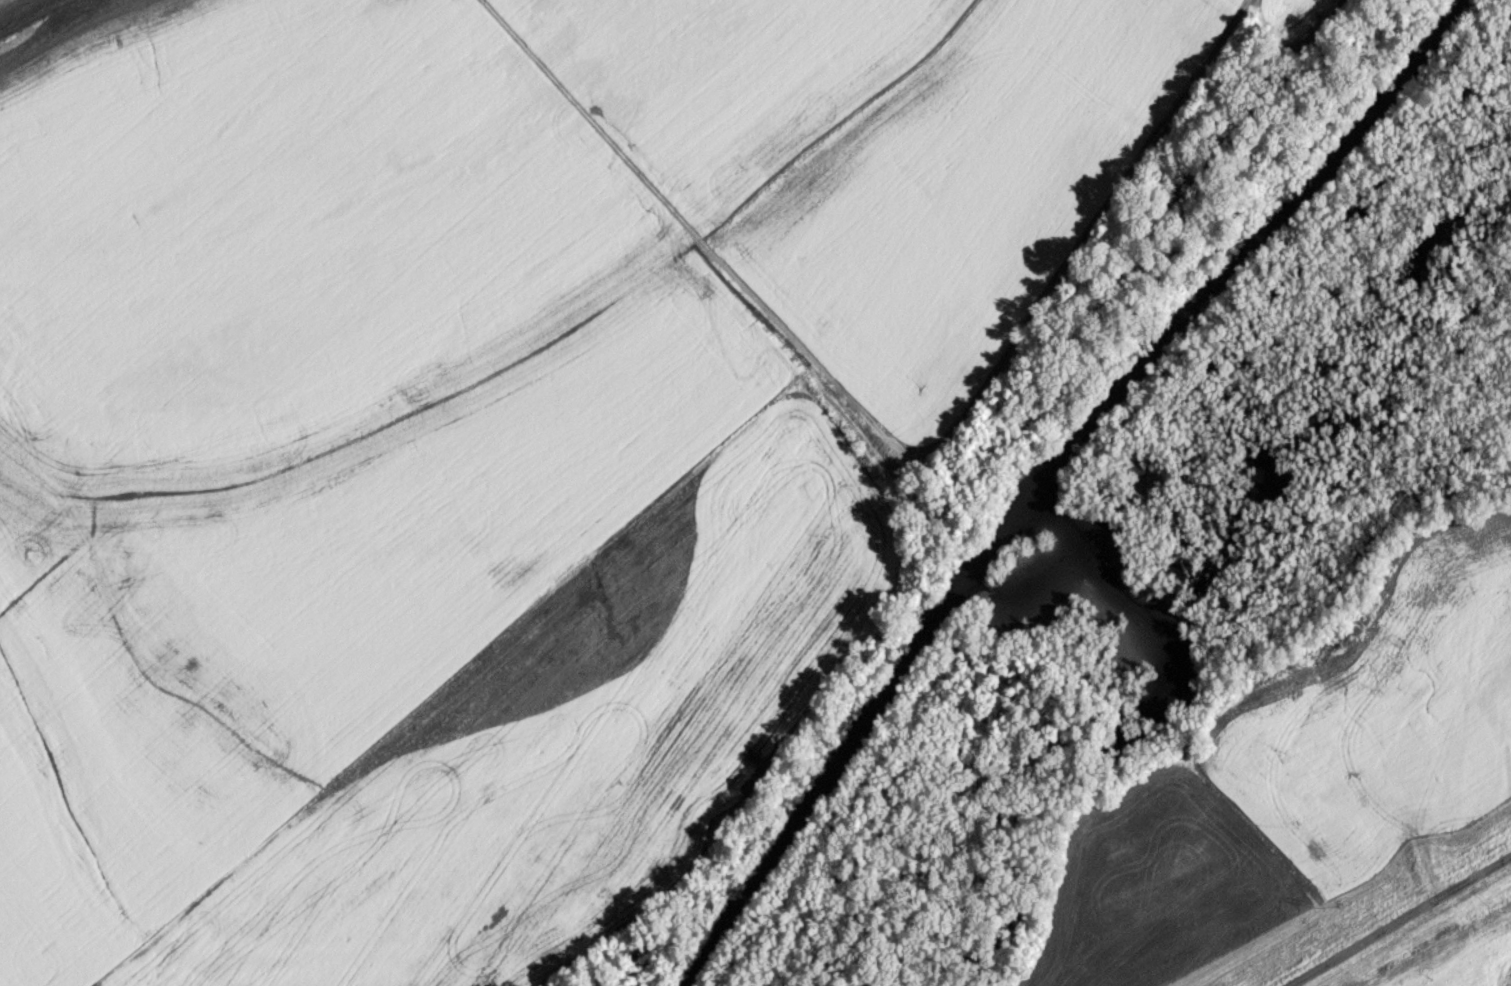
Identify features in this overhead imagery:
road: (1398, 919)

